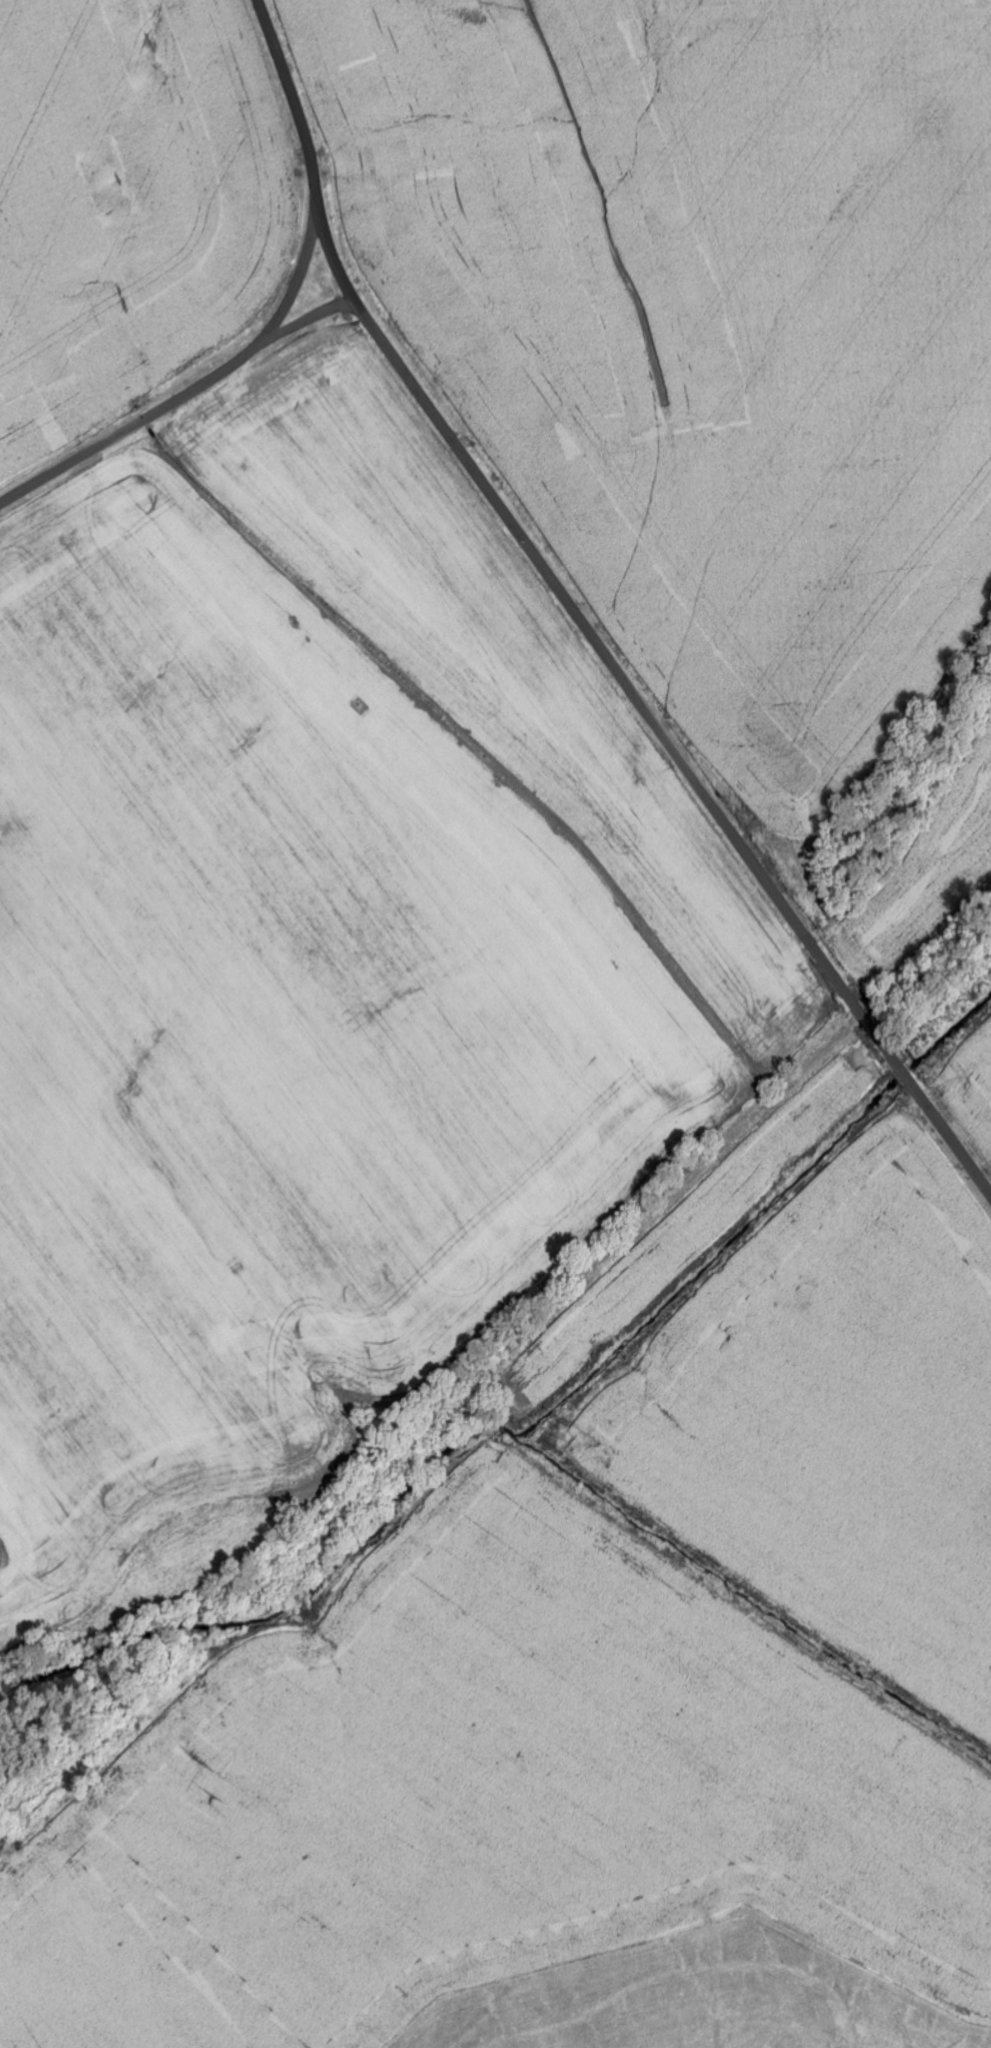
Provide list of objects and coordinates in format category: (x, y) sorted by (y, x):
road: (308, 150)
road: (304, 263)
road: (177, 401)
road: (672, 748)

